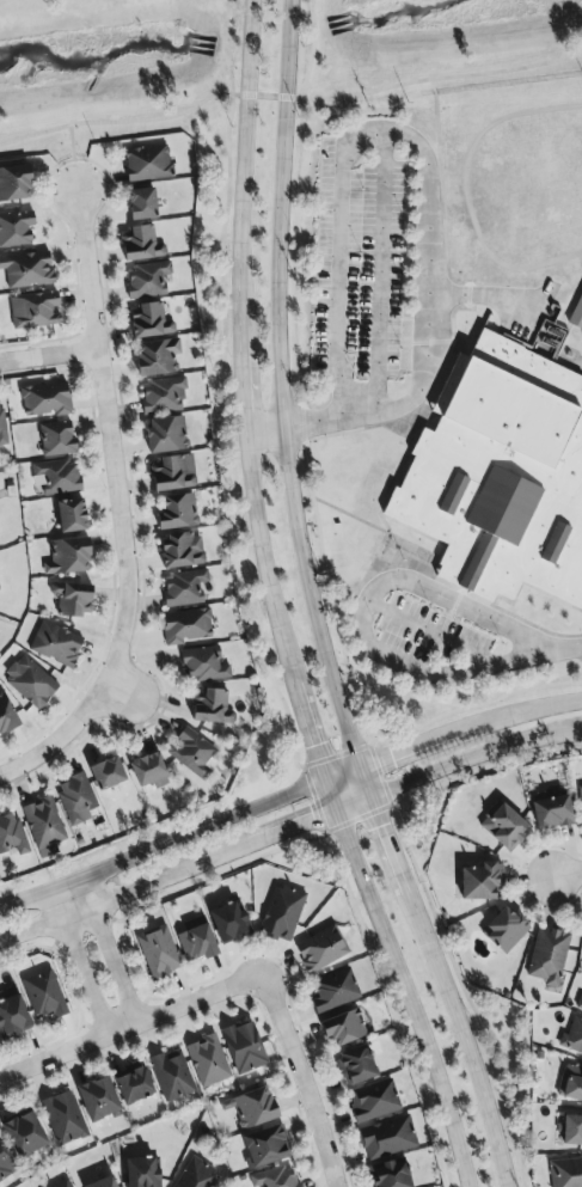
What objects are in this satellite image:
road: (288, 99)
road: (71, 158)
building: (147, 164)
road: (246, 178)
building: (14, 183)
road: (443, 196)
building: (141, 204)
building: (16, 228)
building: (140, 244)
road: (338, 258)
building: (26, 270)
road: (382, 271)
road: (428, 277)
building: (147, 280)
road: (484, 296)
road: (539, 304)
building: (33, 311)
building: (576, 314)
building: (151, 322)
building: (157, 357)
road: (45, 360)
road: (245, 393)
building: (163, 396)
building: (45, 399)
road: (329, 420)
building: (1, 427)
road: (265, 430)
building: (166, 434)
building: (56, 439)
building: (172, 473)
building: (56, 477)
building: (504, 479)
building: (178, 512)
building: (71, 515)
road: (125, 518)
building: (182, 550)
building: (68, 557)
road: (263, 558)
building: (183, 588)
building: (72, 599)
road: (314, 607)
road: (361, 617)
building: (185, 626)
road: (431, 632)
building: (55, 644)
road: (569, 649)
building: (202, 665)
building: (30, 683)
building: (210, 706)
building: (6, 715)
road: (310, 732)
road: (451, 734)
building: (194, 754)
road: (455, 764)
building: (149, 771)
building: (106, 773)
road: (329, 796)
building: (75, 799)
building: (580, 801)
building: (551, 812)
building: (43, 826)
building: (503, 826)
building: (11, 834)
road: (163, 845)
road: (570, 870)
road: (169, 880)
building: (480, 881)
building: (282, 913)
building: (228, 922)
building: (504, 930)
building: (195, 941)
building: (321, 949)
building: (158, 952)
road: (109, 953)
building: (547, 956)
road: (78, 966)
building: (333, 991)
building: (44, 995)
road: (404, 998)
building: (578, 1003)
building: (12, 1016)
building: (343, 1027)
road: (130, 1029)
building: (574, 1036)
building: (244, 1047)
building: (207, 1061)
building: (356, 1065)
building: (172, 1075)
road: (302, 1081)
building: (133, 1083)
building: (571, 1083)
building: (98, 1100)
building: (373, 1101)
building: (252, 1107)
building: (63, 1118)
building: (572, 1130)
building: (24, 1134)
building: (387, 1138)
building: (264, 1146)
building: (5, 1164)
building: (141, 1173)
building: (565, 1173)
building: (196, 1175)
building: (391, 1175)
building: (275, 1177)
building: (103, 1182)
building: (65, 1185)

